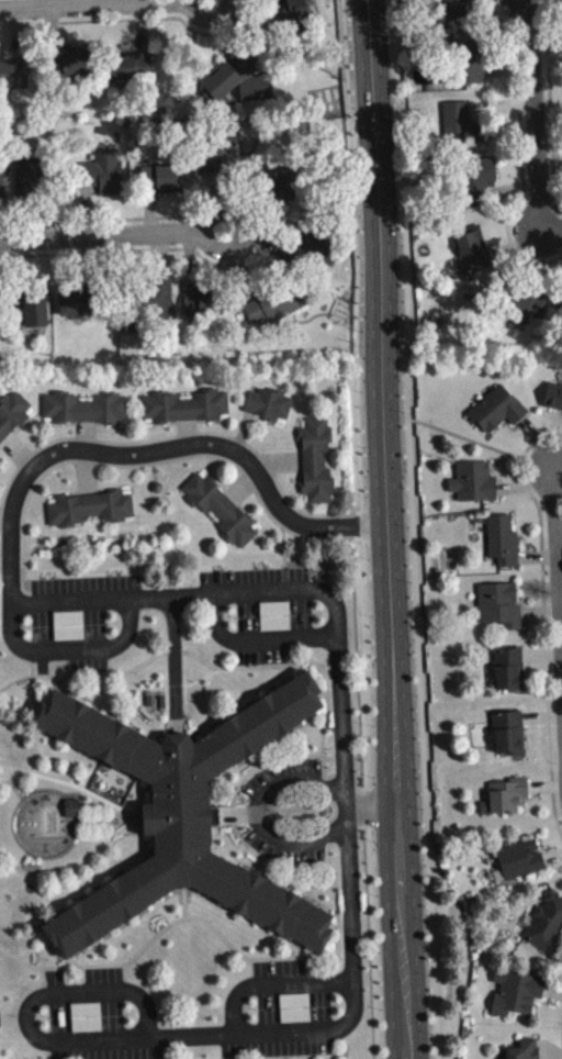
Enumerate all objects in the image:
road: (103, 8)
building: (303, 12)
building: (456, 12)
building: (470, 68)
building: (79, 69)
building: (134, 74)
building: (14, 80)
building: (240, 87)
road: (537, 116)
building: (458, 125)
building: (213, 167)
building: (106, 179)
building: (30, 183)
building: (161, 186)
building: (480, 189)
building: (2, 190)
building: (281, 191)
road: (552, 232)
road: (113, 237)
building: (474, 256)
building: (161, 300)
building: (79, 308)
building: (203, 309)
building: (277, 312)
building: (527, 312)
building: (35, 319)
building: (554, 403)
building: (270, 411)
building: (187, 413)
building: (87, 415)
building: (497, 416)
building: (13, 420)
building: (317, 467)
building: (475, 489)
building: (91, 515)
building: (222, 516)
road: (361, 528)
road: (386, 528)
road: (411, 529)
building: (504, 547)
road: (559, 549)
road: (267, 591)
building: (501, 613)
building: (277, 623)
building: (70, 633)
building: (510, 676)
building: (510, 740)
building: (507, 803)
road: (371, 805)
road: (255, 811)
building: (74, 815)
building: (187, 849)
building: (521, 866)
building: (547, 932)
building: (517, 1000)
building: (296, 1015)
building: (88, 1024)
building: (0, 1033)
building: (527, 1052)

